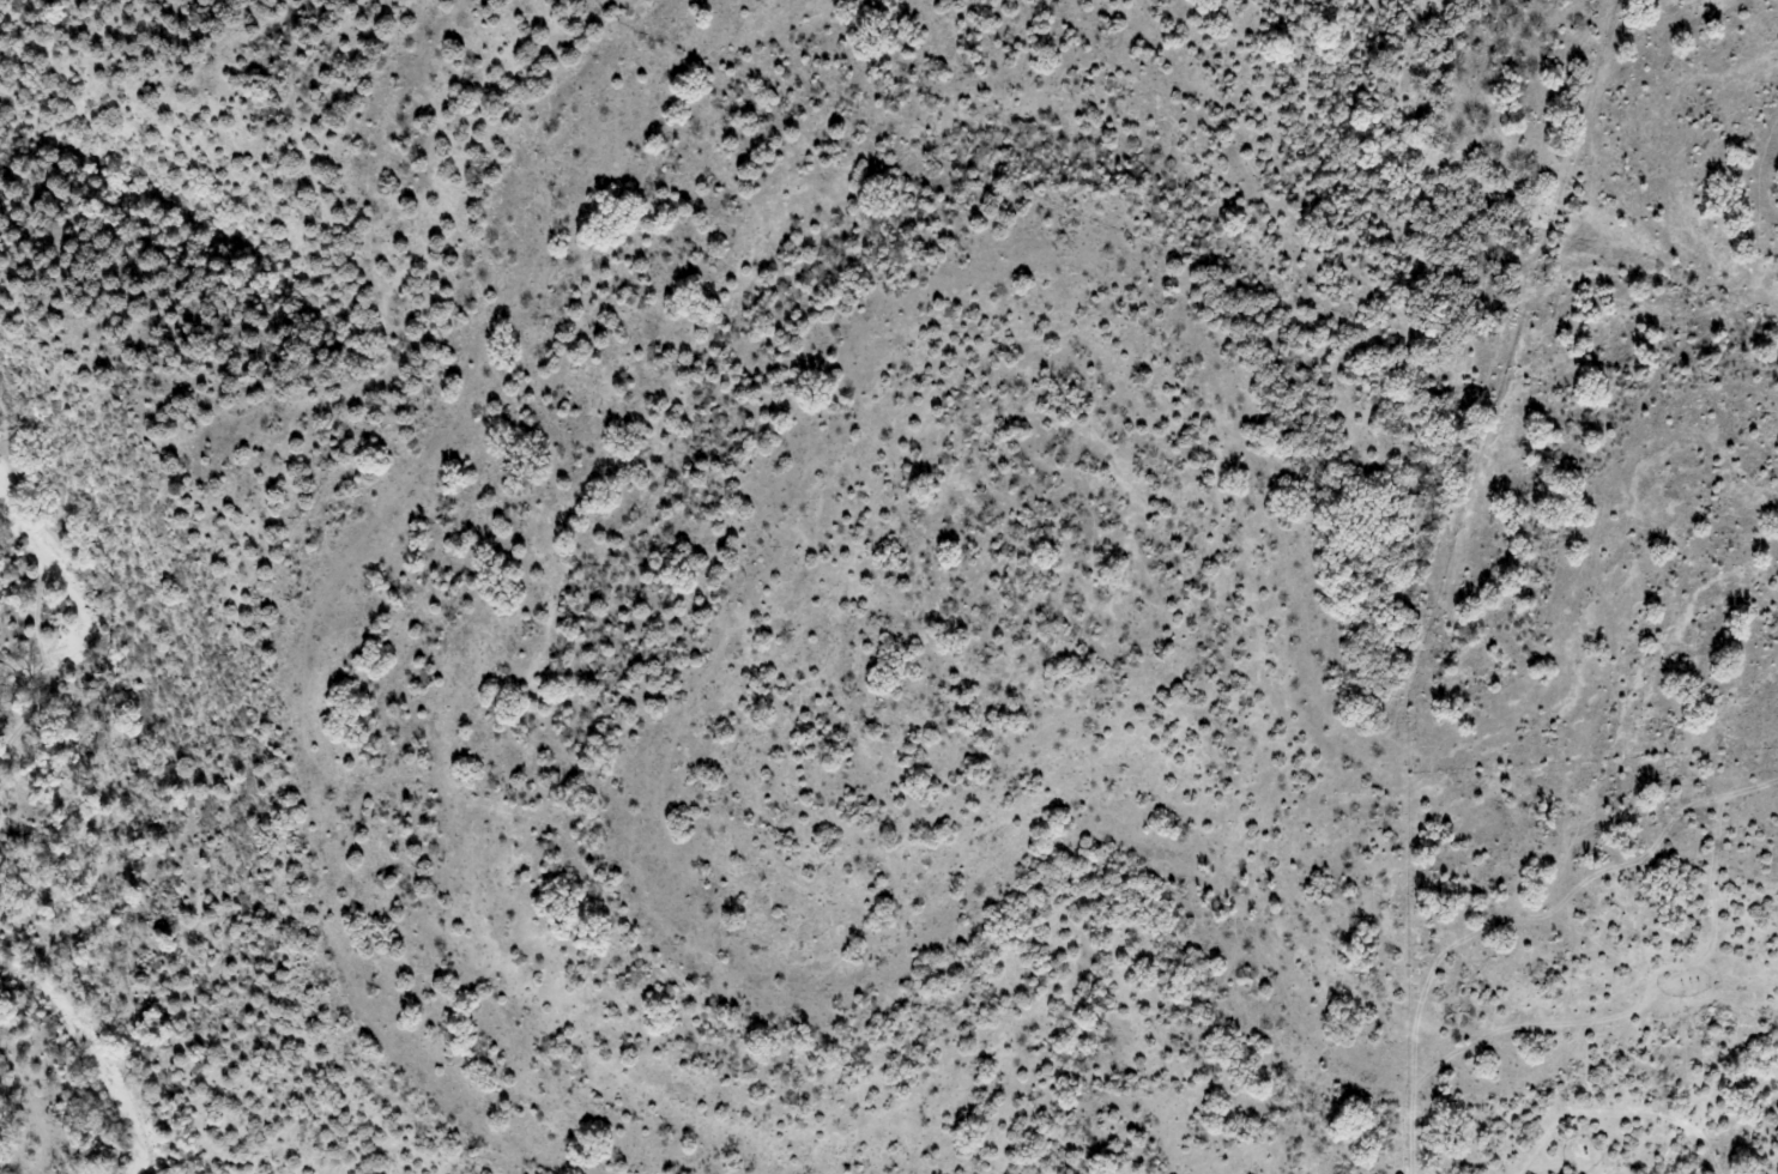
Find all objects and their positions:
road: (85, 591)
road: (25, 1089)

